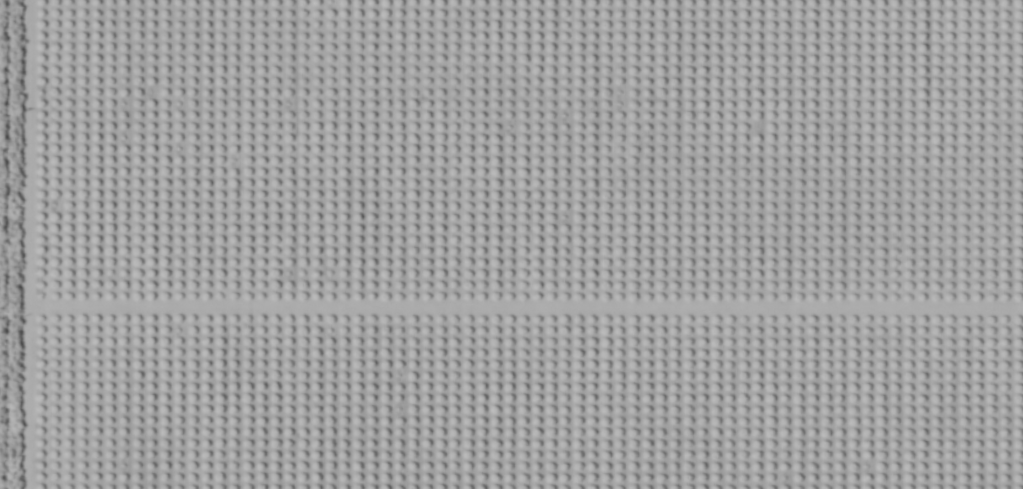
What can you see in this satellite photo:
road: (49, 244)

